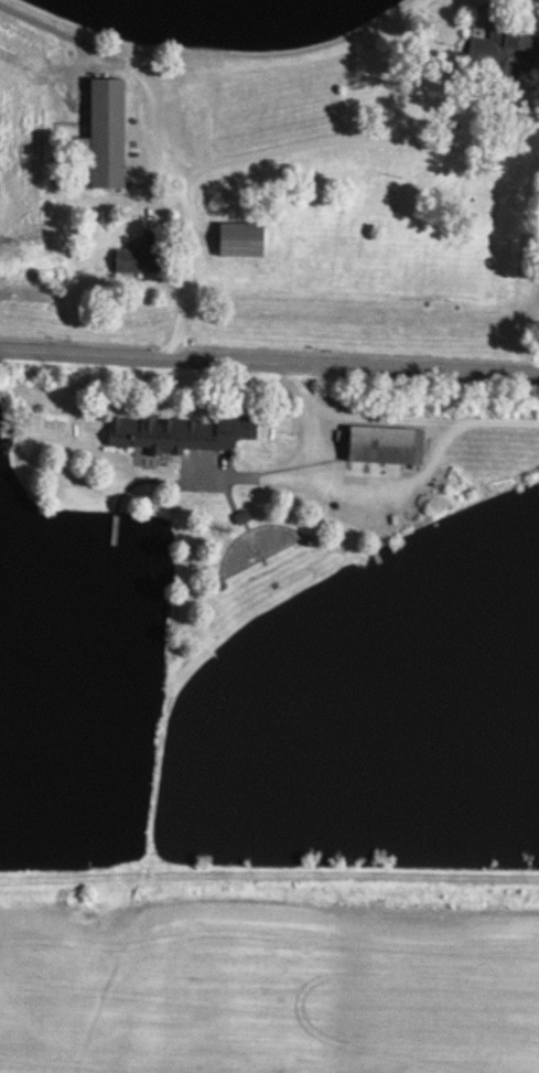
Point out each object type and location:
road: (291, 148)
road: (269, 360)
road: (423, 415)
road: (295, 458)
road: (389, 484)

